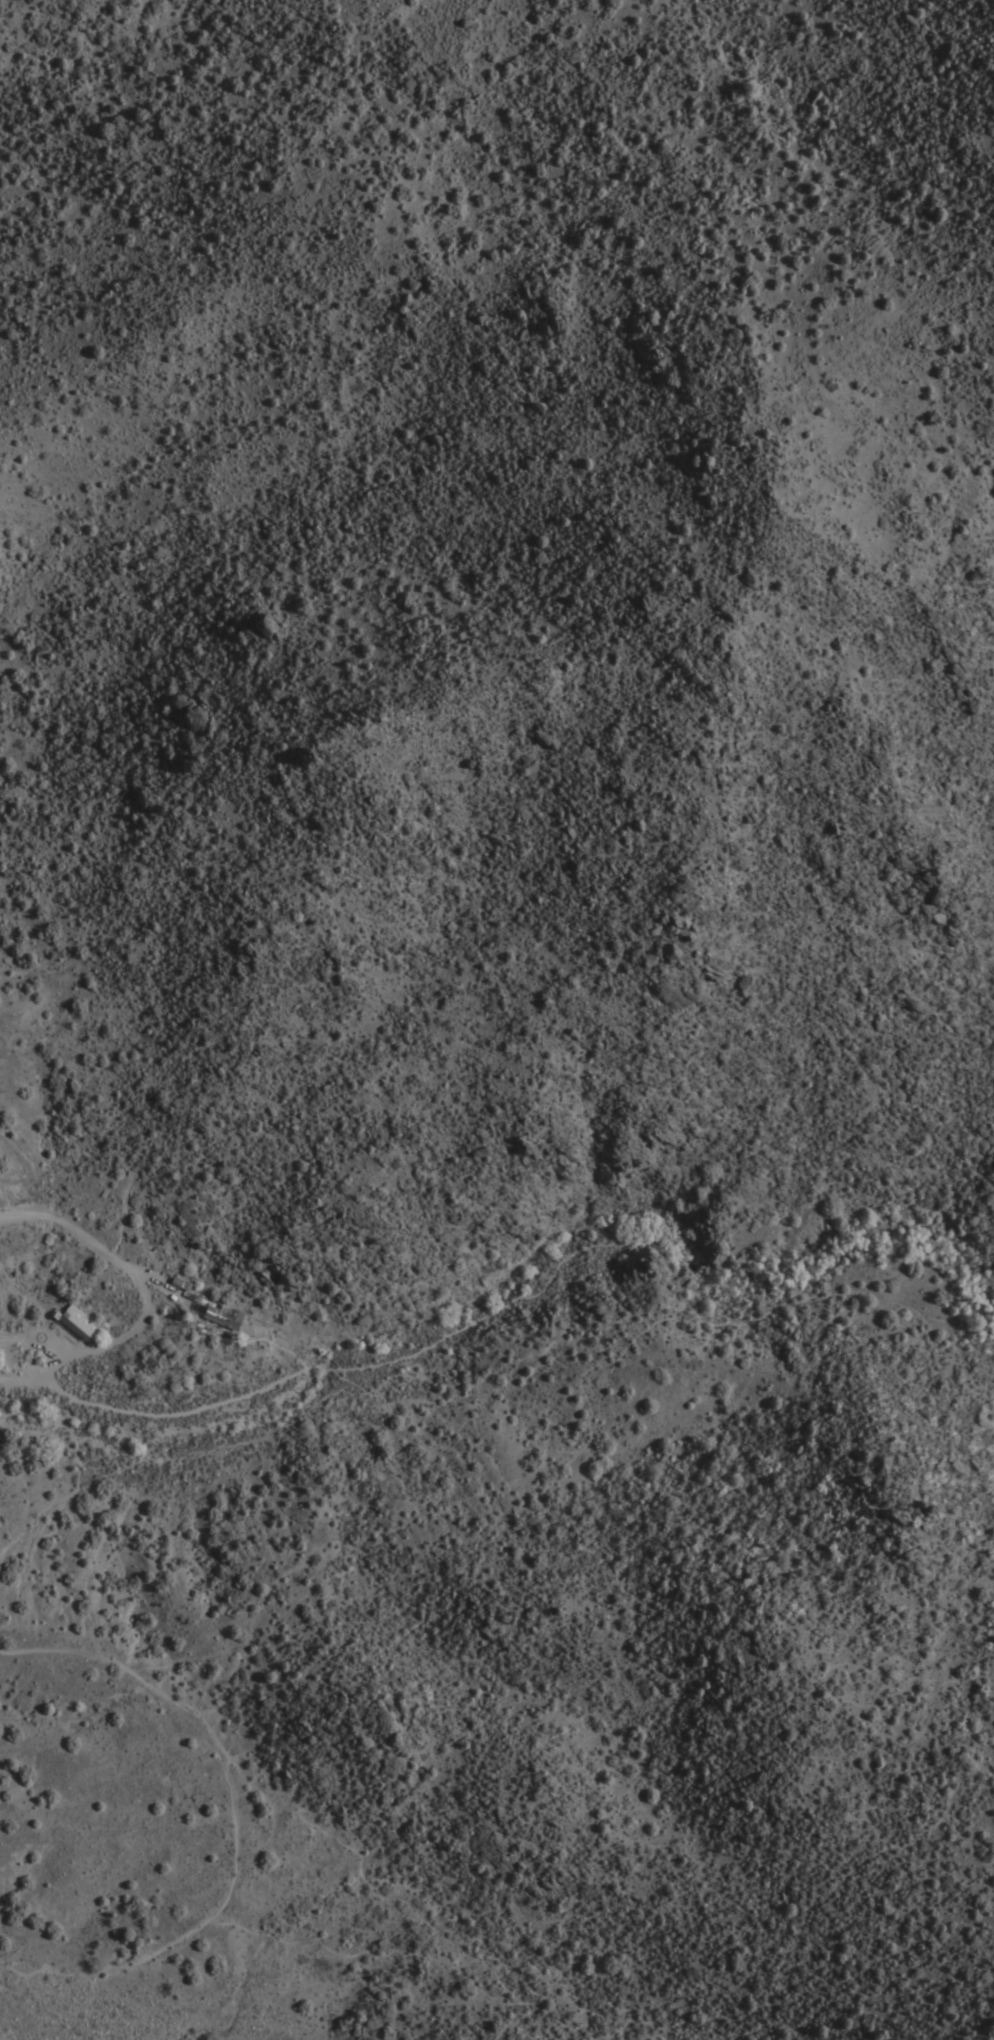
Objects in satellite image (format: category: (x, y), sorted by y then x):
building: (223, 1307)
building: (83, 1313)
building: (79, 1323)
road: (159, 1413)
road: (236, 1804)
road: (337, 1949)
road: (54, 1969)
road: (603, 2031)

